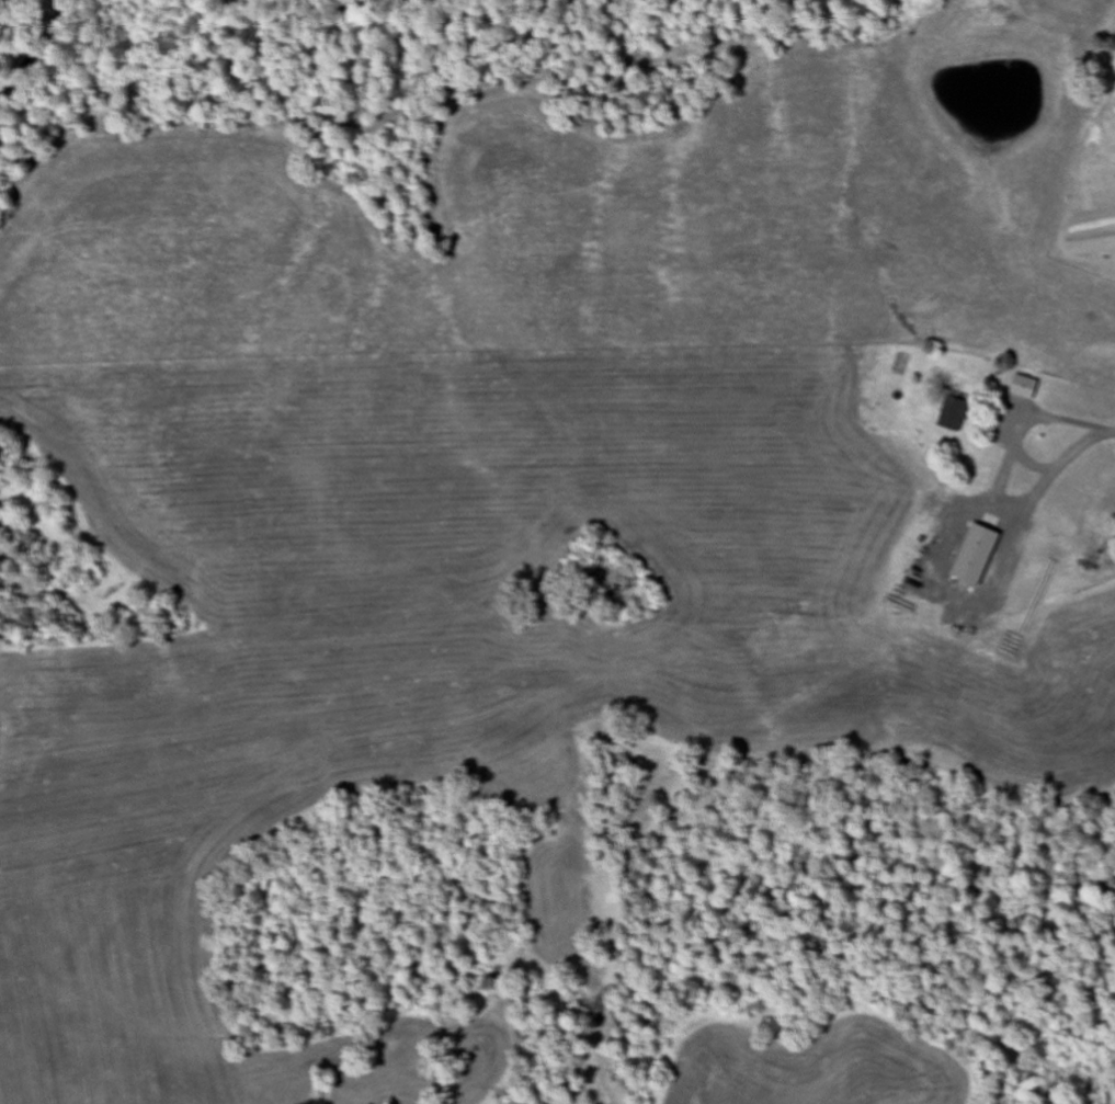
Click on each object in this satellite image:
building: (959, 416)
road: (1080, 428)
building: (1008, 467)
building: (1066, 525)
building: (1009, 557)

